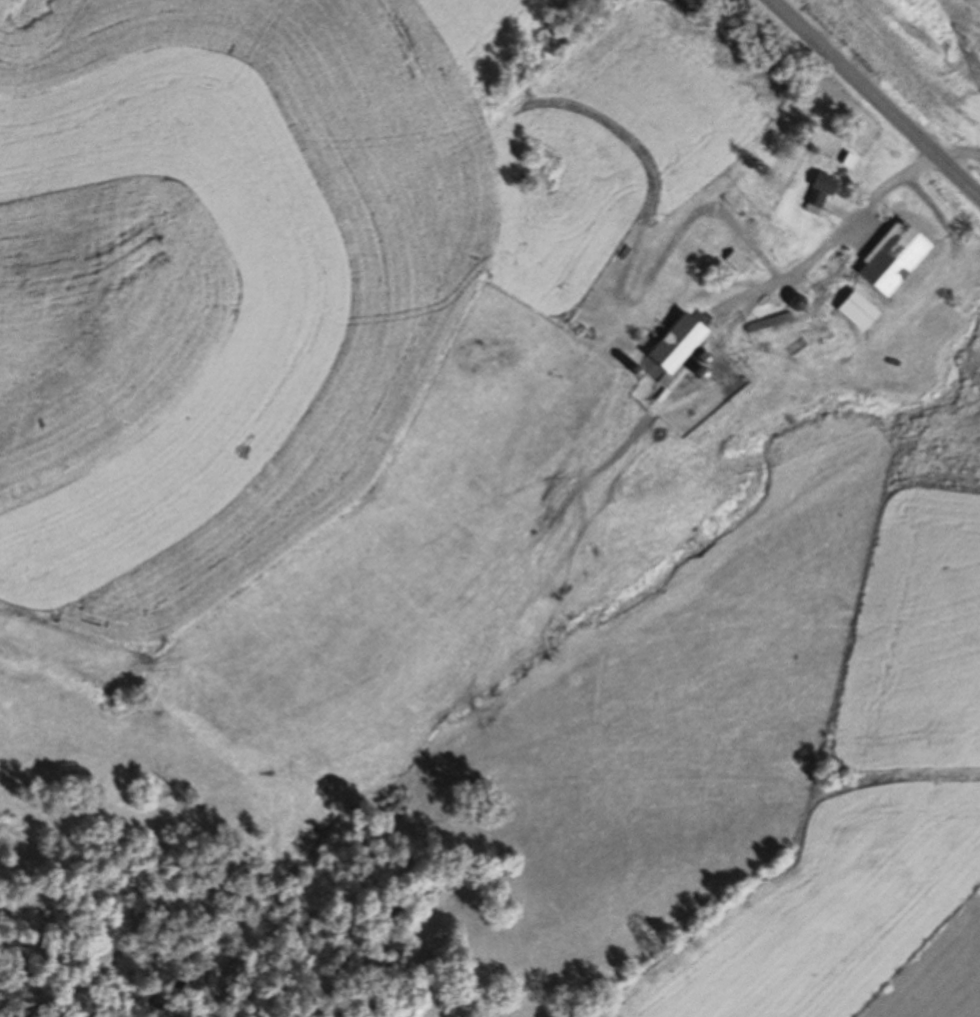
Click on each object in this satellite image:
road: (871, 100)
road: (956, 152)
building: (851, 161)
park: (536, 173)
building: (821, 190)
road: (820, 253)
building: (896, 258)
building: (740, 262)
building: (836, 262)
road: (647, 280)
building: (800, 302)
building: (860, 311)
building: (770, 324)
building: (678, 353)

